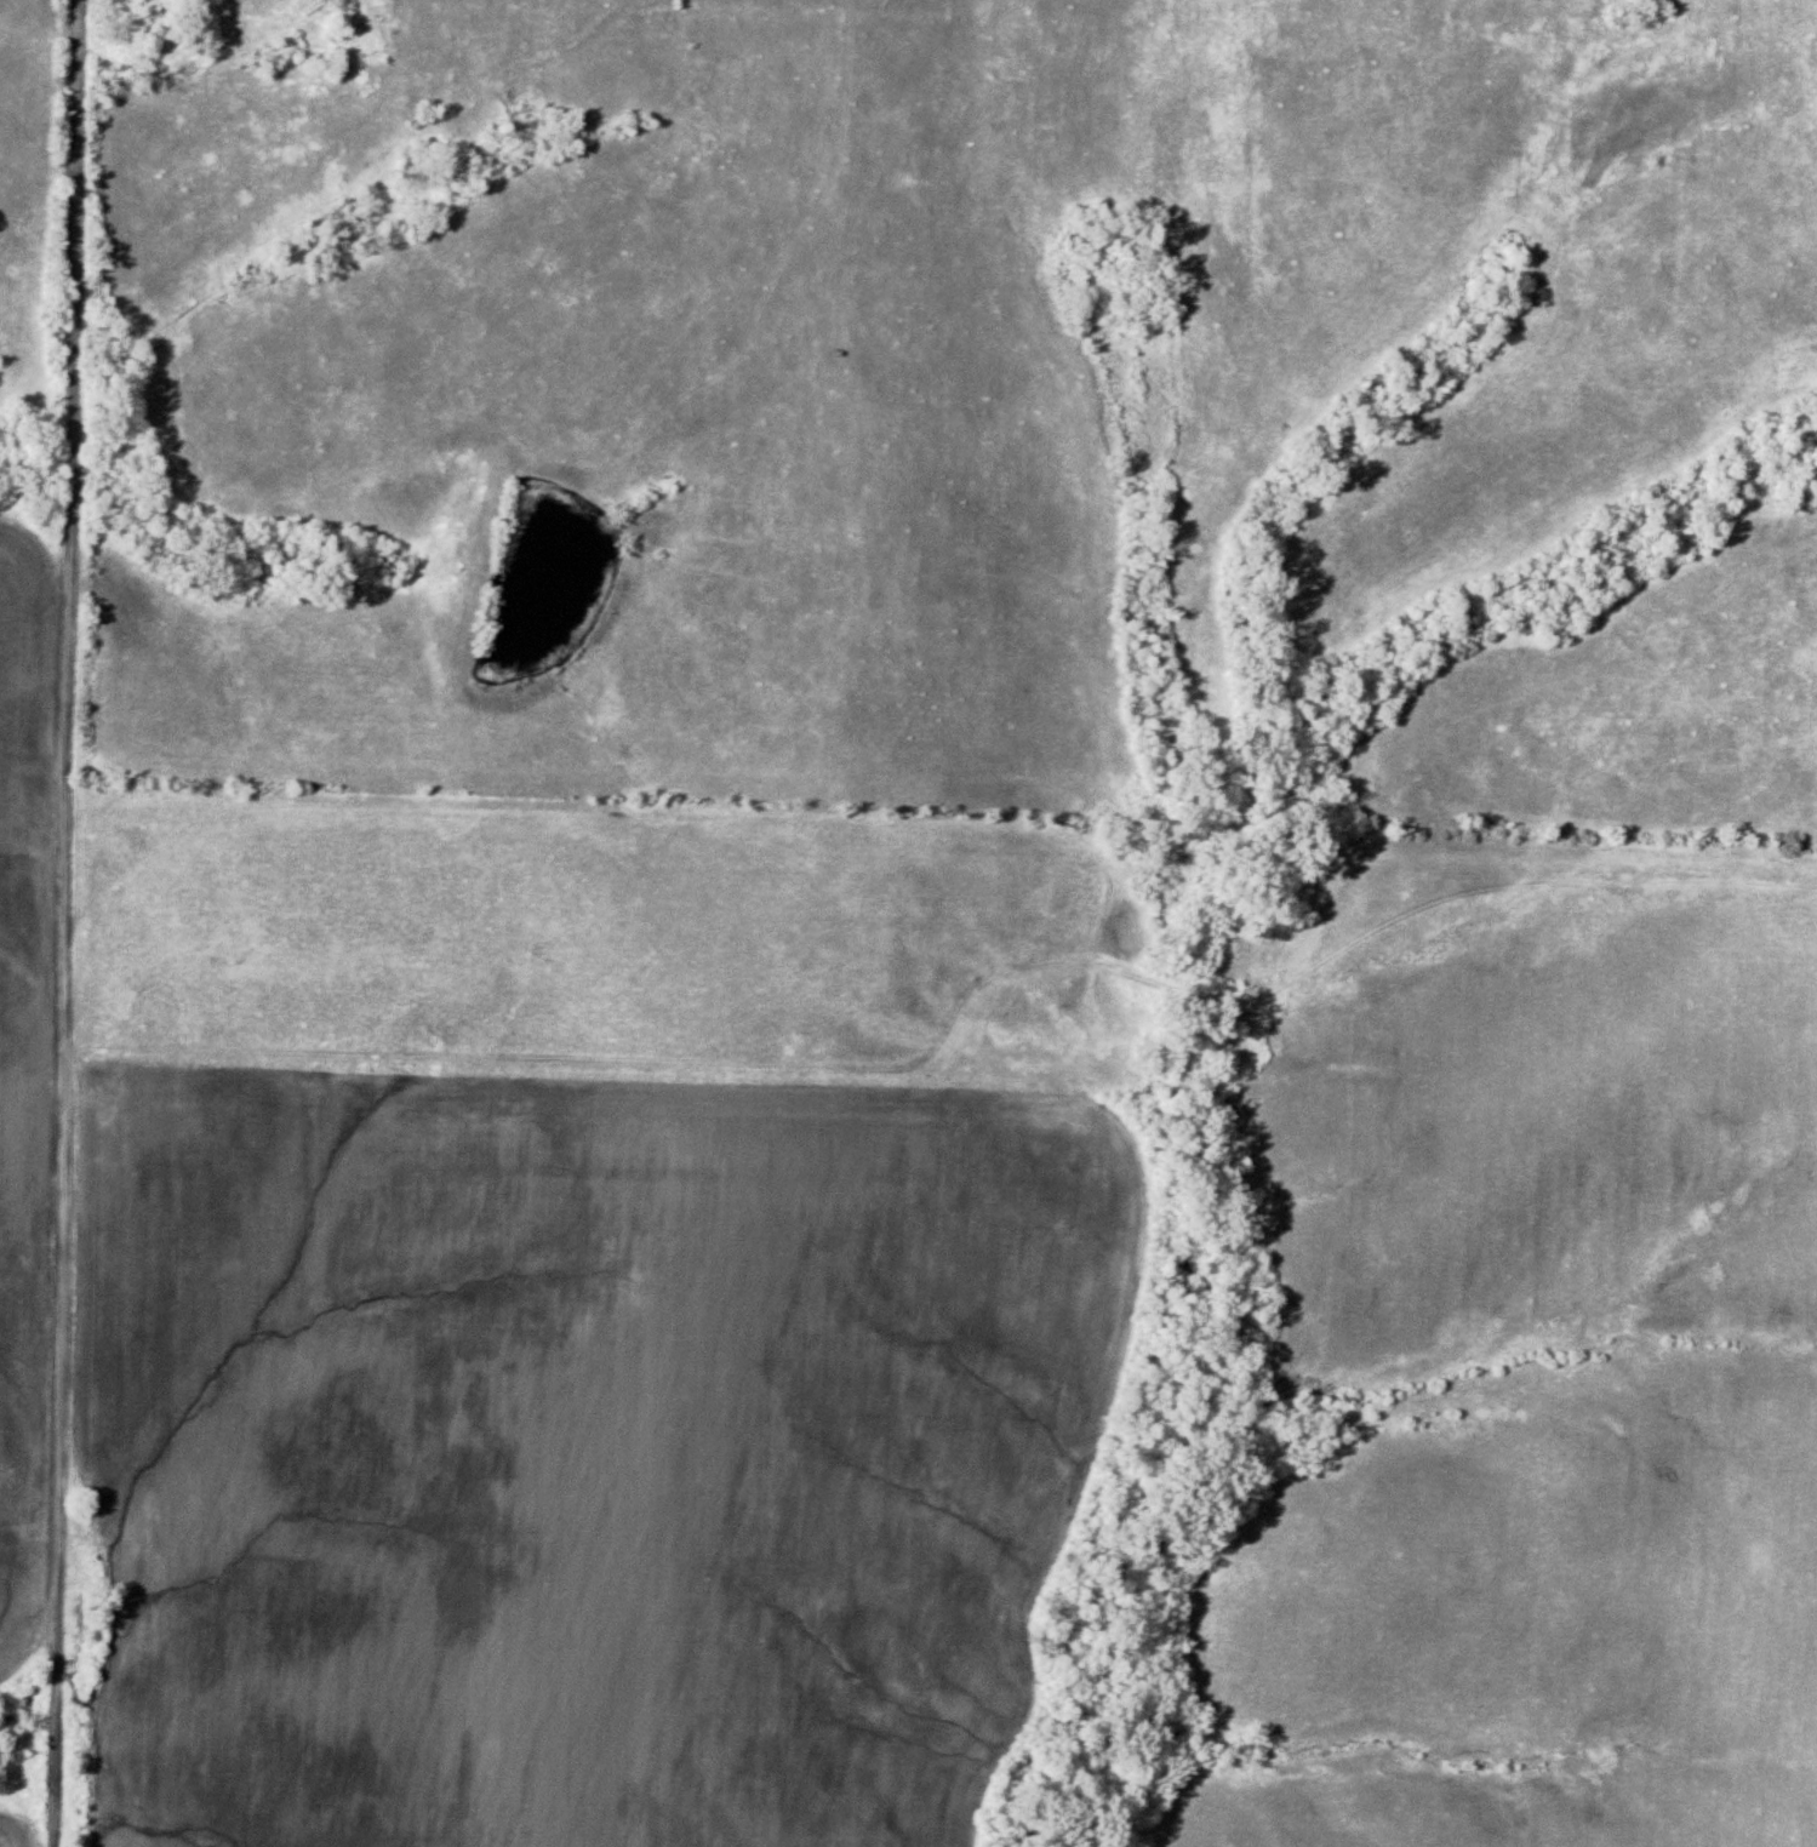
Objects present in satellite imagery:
road: (67, 923)

